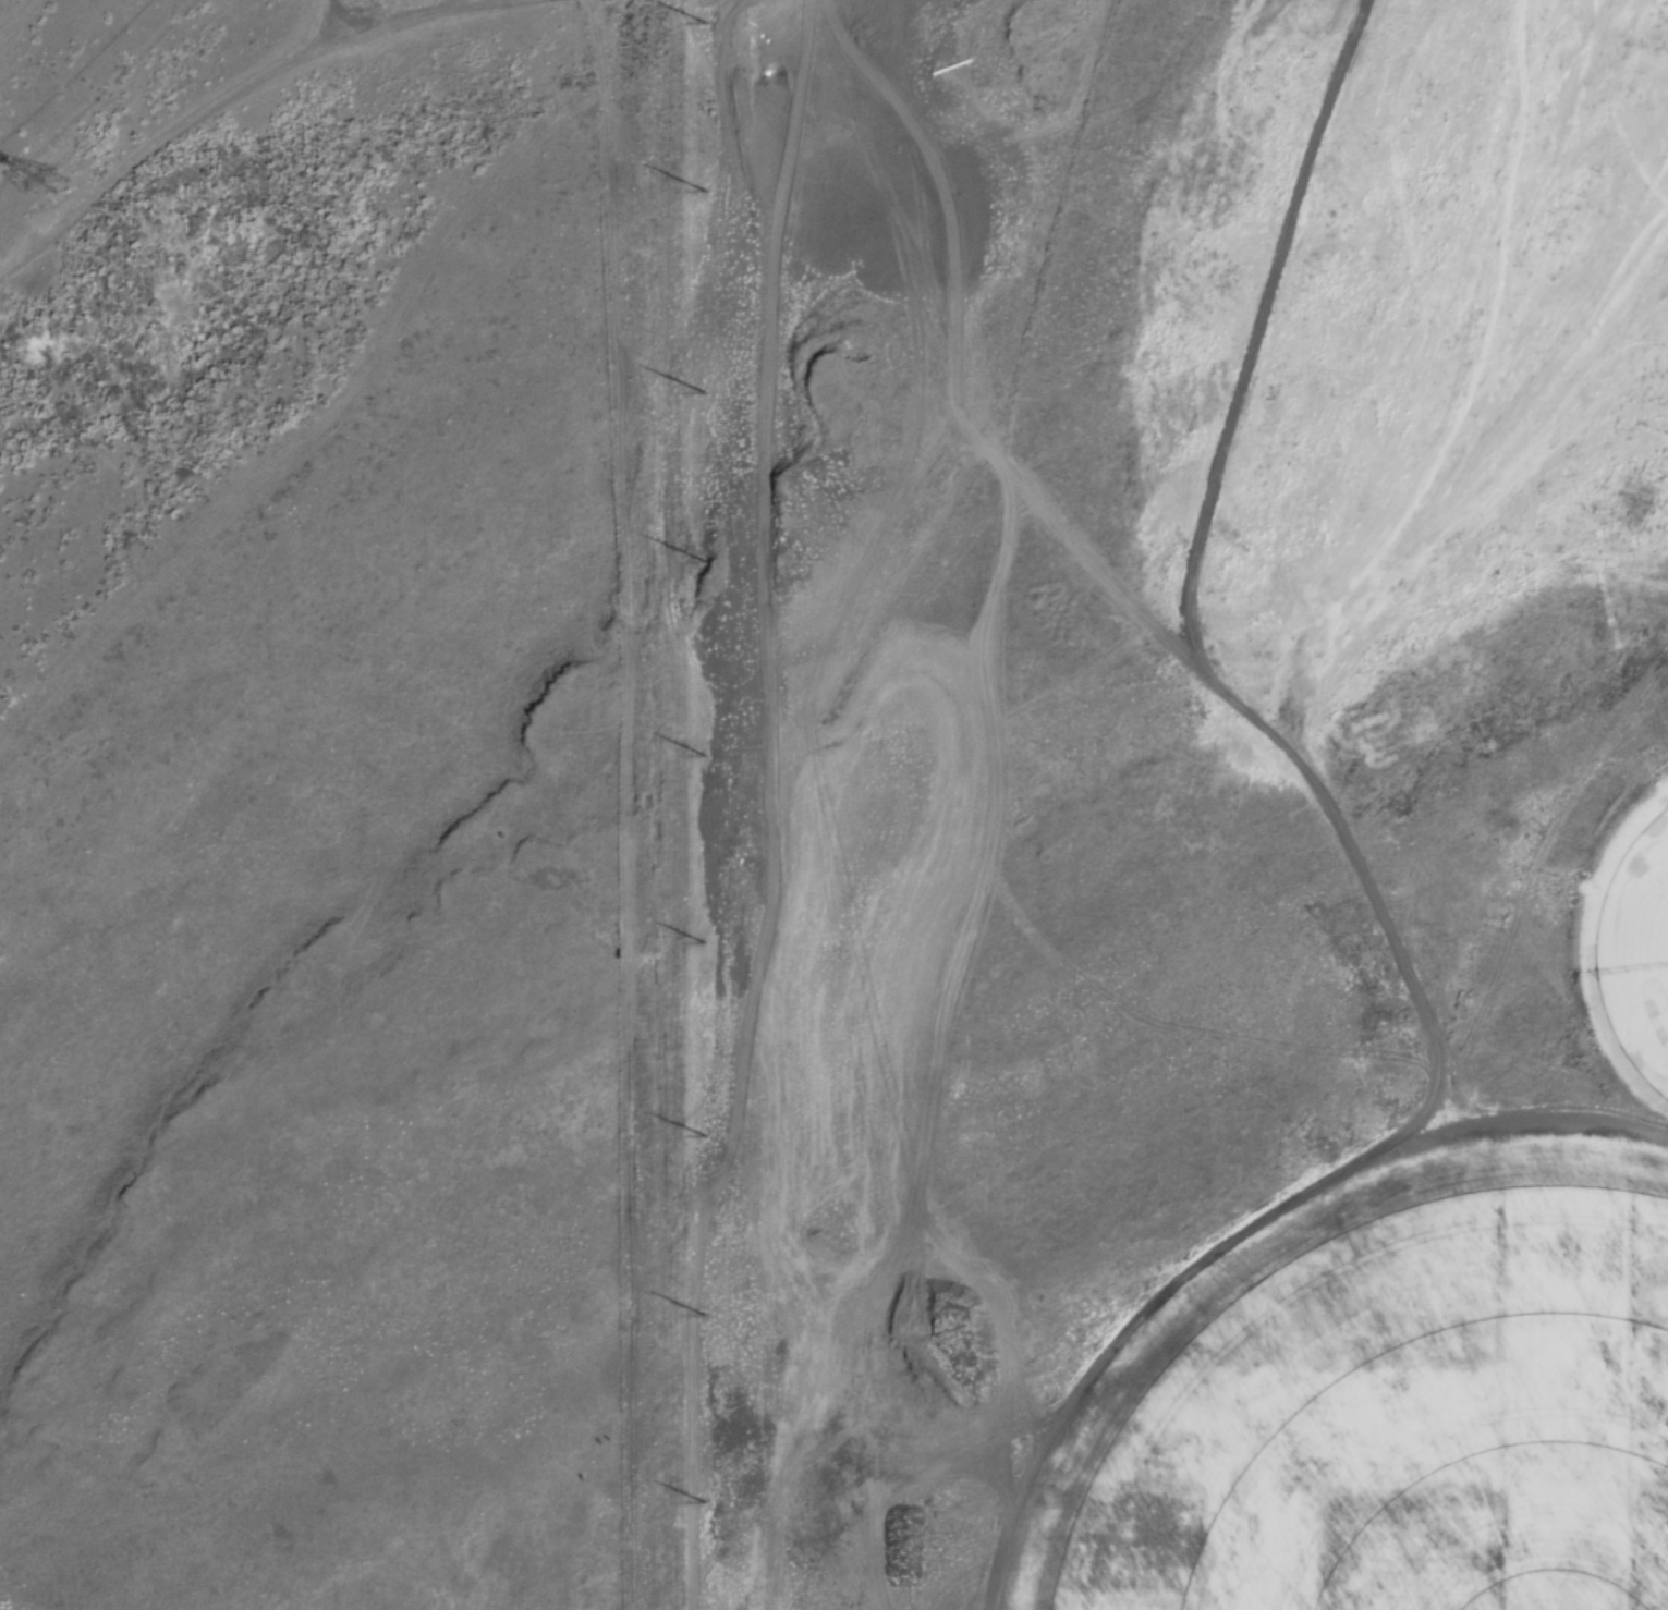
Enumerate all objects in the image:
road: (390, 14)
power tower: (54, 170)
road: (695, 804)
crop: (1417, 1435)

